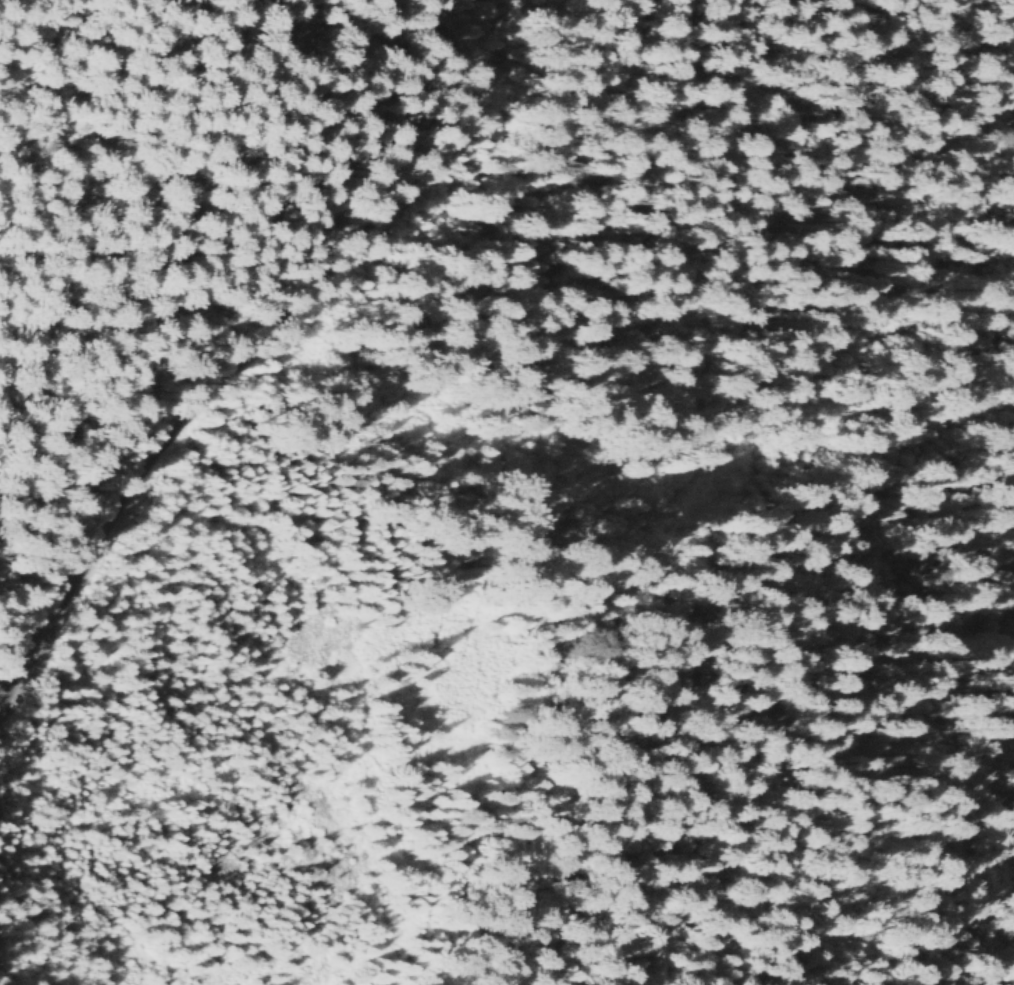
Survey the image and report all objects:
road: (246, 347)
road: (23, 428)

